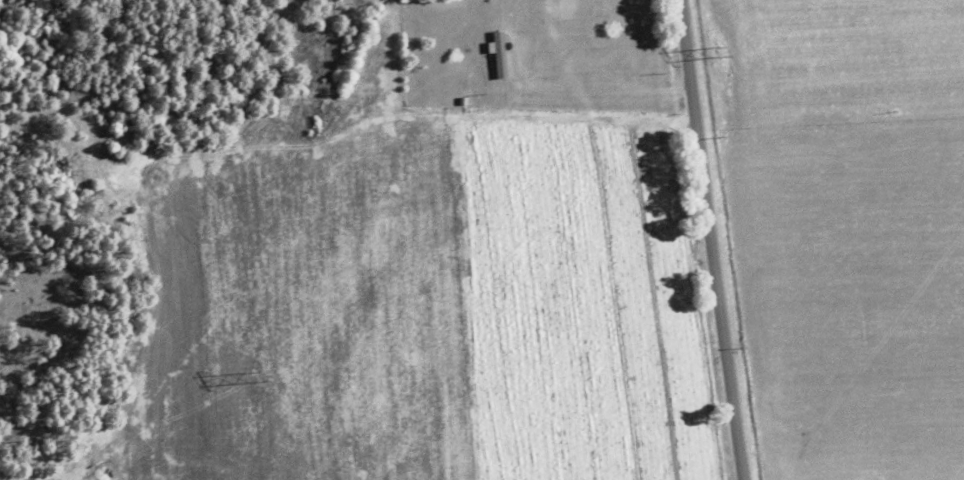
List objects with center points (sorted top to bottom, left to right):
power tower: (718, 52)
building: (497, 54)
road: (513, 63)
road: (707, 239)
power tower: (255, 375)

